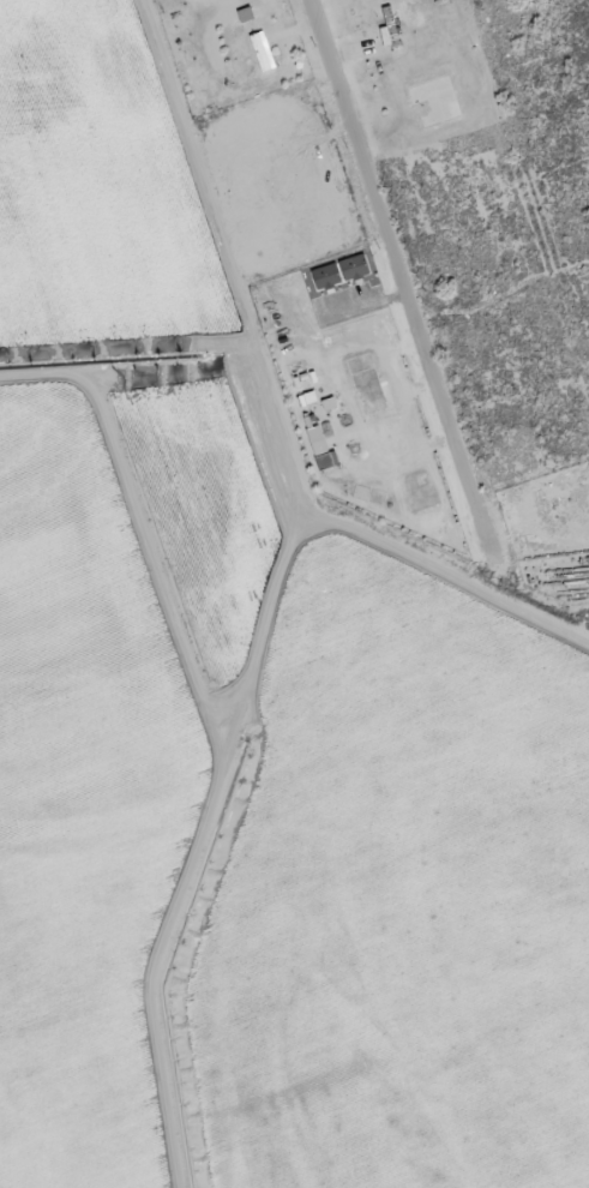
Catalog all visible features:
building: (246, 14)
building: (262, 50)
road: (222, 252)
building: (353, 268)
building: (325, 276)
road: (407, 287)
building: (315, 439)
building: (324, 461)
road: (449, 577)

